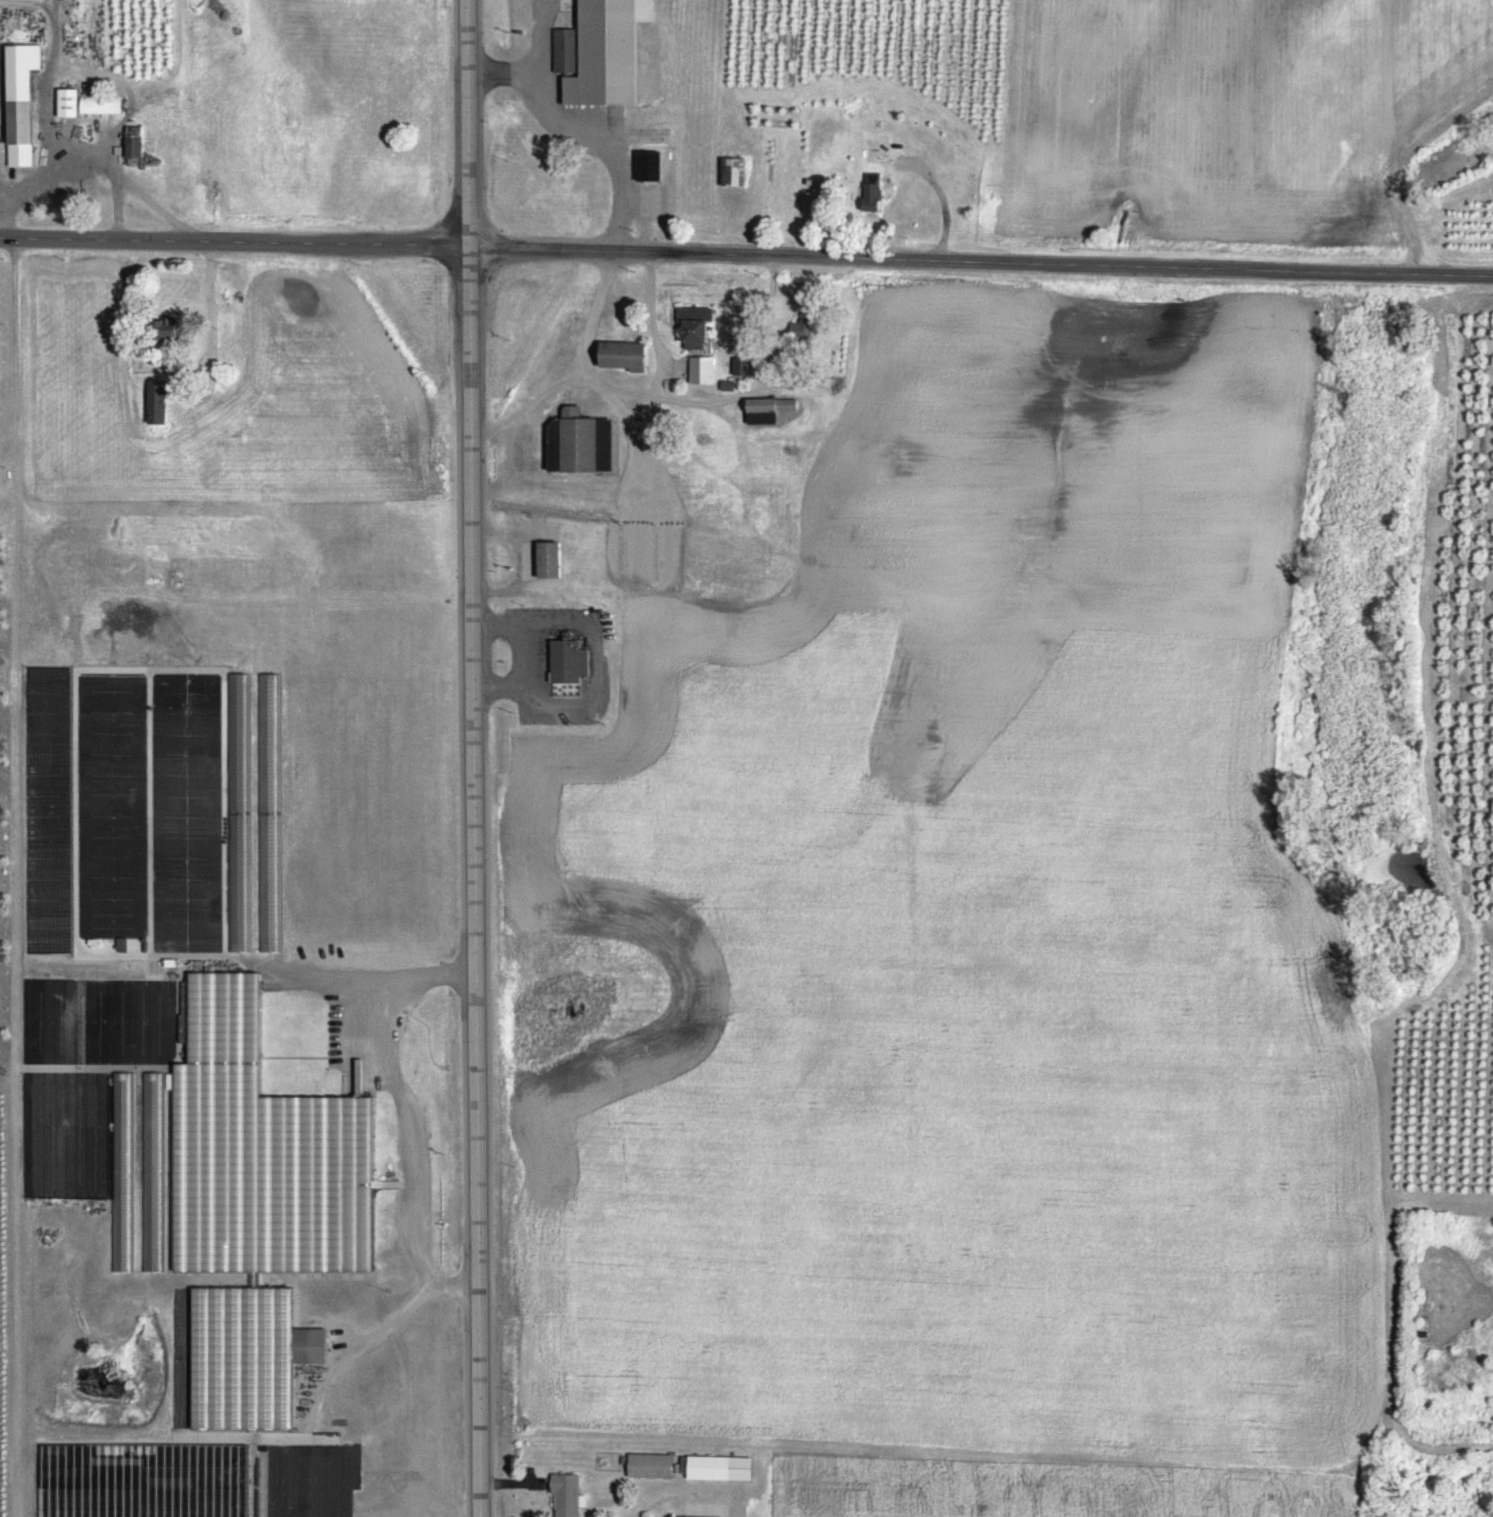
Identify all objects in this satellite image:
building: (567, 49)
building: (612, 52)
building: (24, 101)
building: (72, 101)
road: (50, 103)
building: (104, 104)
road: (470, 124)
road: (582, 132)
building: (138, 150)
building: (652, 165)
building: (736, 170)
road: (131, 181)
building: (876, 191)
road: (120, 207)
road: (746, 254)
road: (210, 312)
road: (592, 315)
building: (700, 326)
road: (15, 332)
road: (656, 346)
building: (627, 355)
building: (746, 366)
building: (704, 369)
building: (161, 401)
road: (534, 402)
building: (580, 441)
building: (553, 559)
road: (527, 658)
building: (571, 662)
road: (476, 883)
building: (240, 886)
road: (17, 971)
road: (416, 1119)
building: (123, 1172)
building: (313, 1186)
building: (250, 1357)
building: (654, 1465)
building: (724, 1467)
road: (668, 1492)
building: (568, 1495)
building: (682, 1516)

